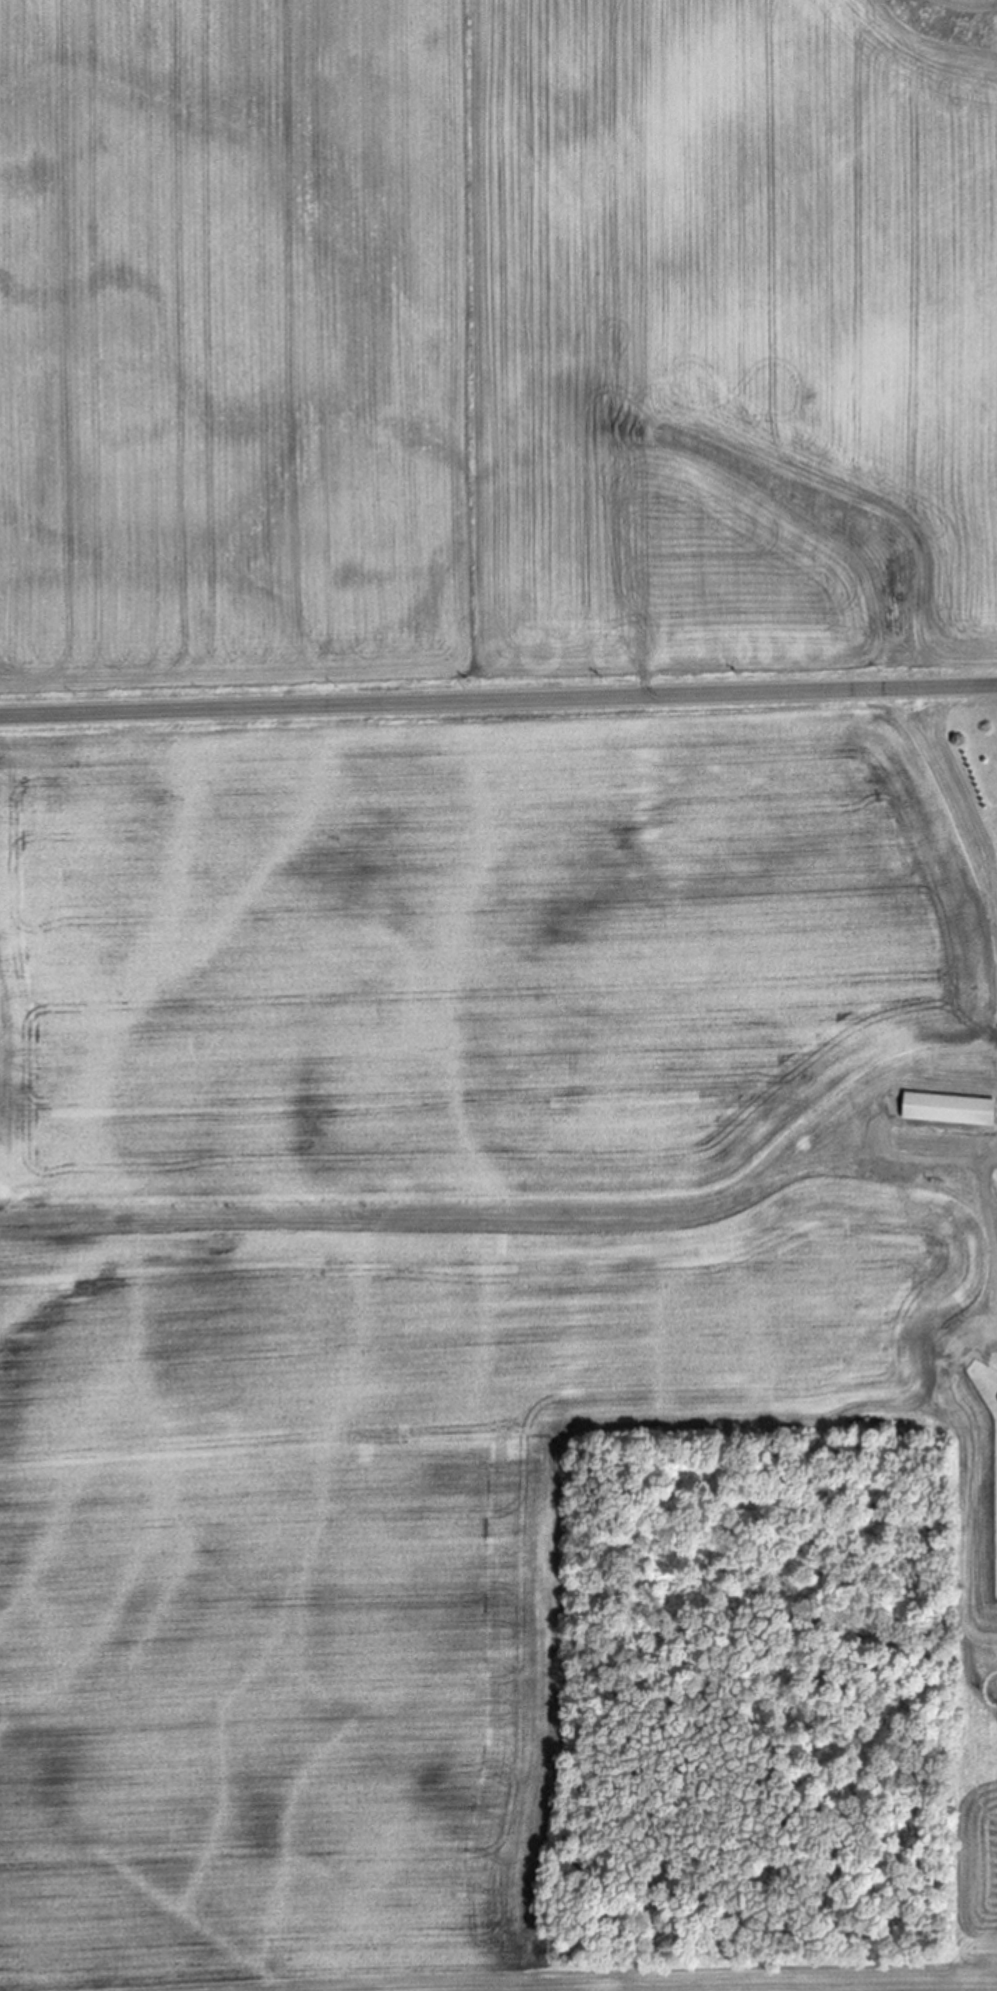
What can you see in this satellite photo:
road: (498, 700)
building: (949, 1110)

